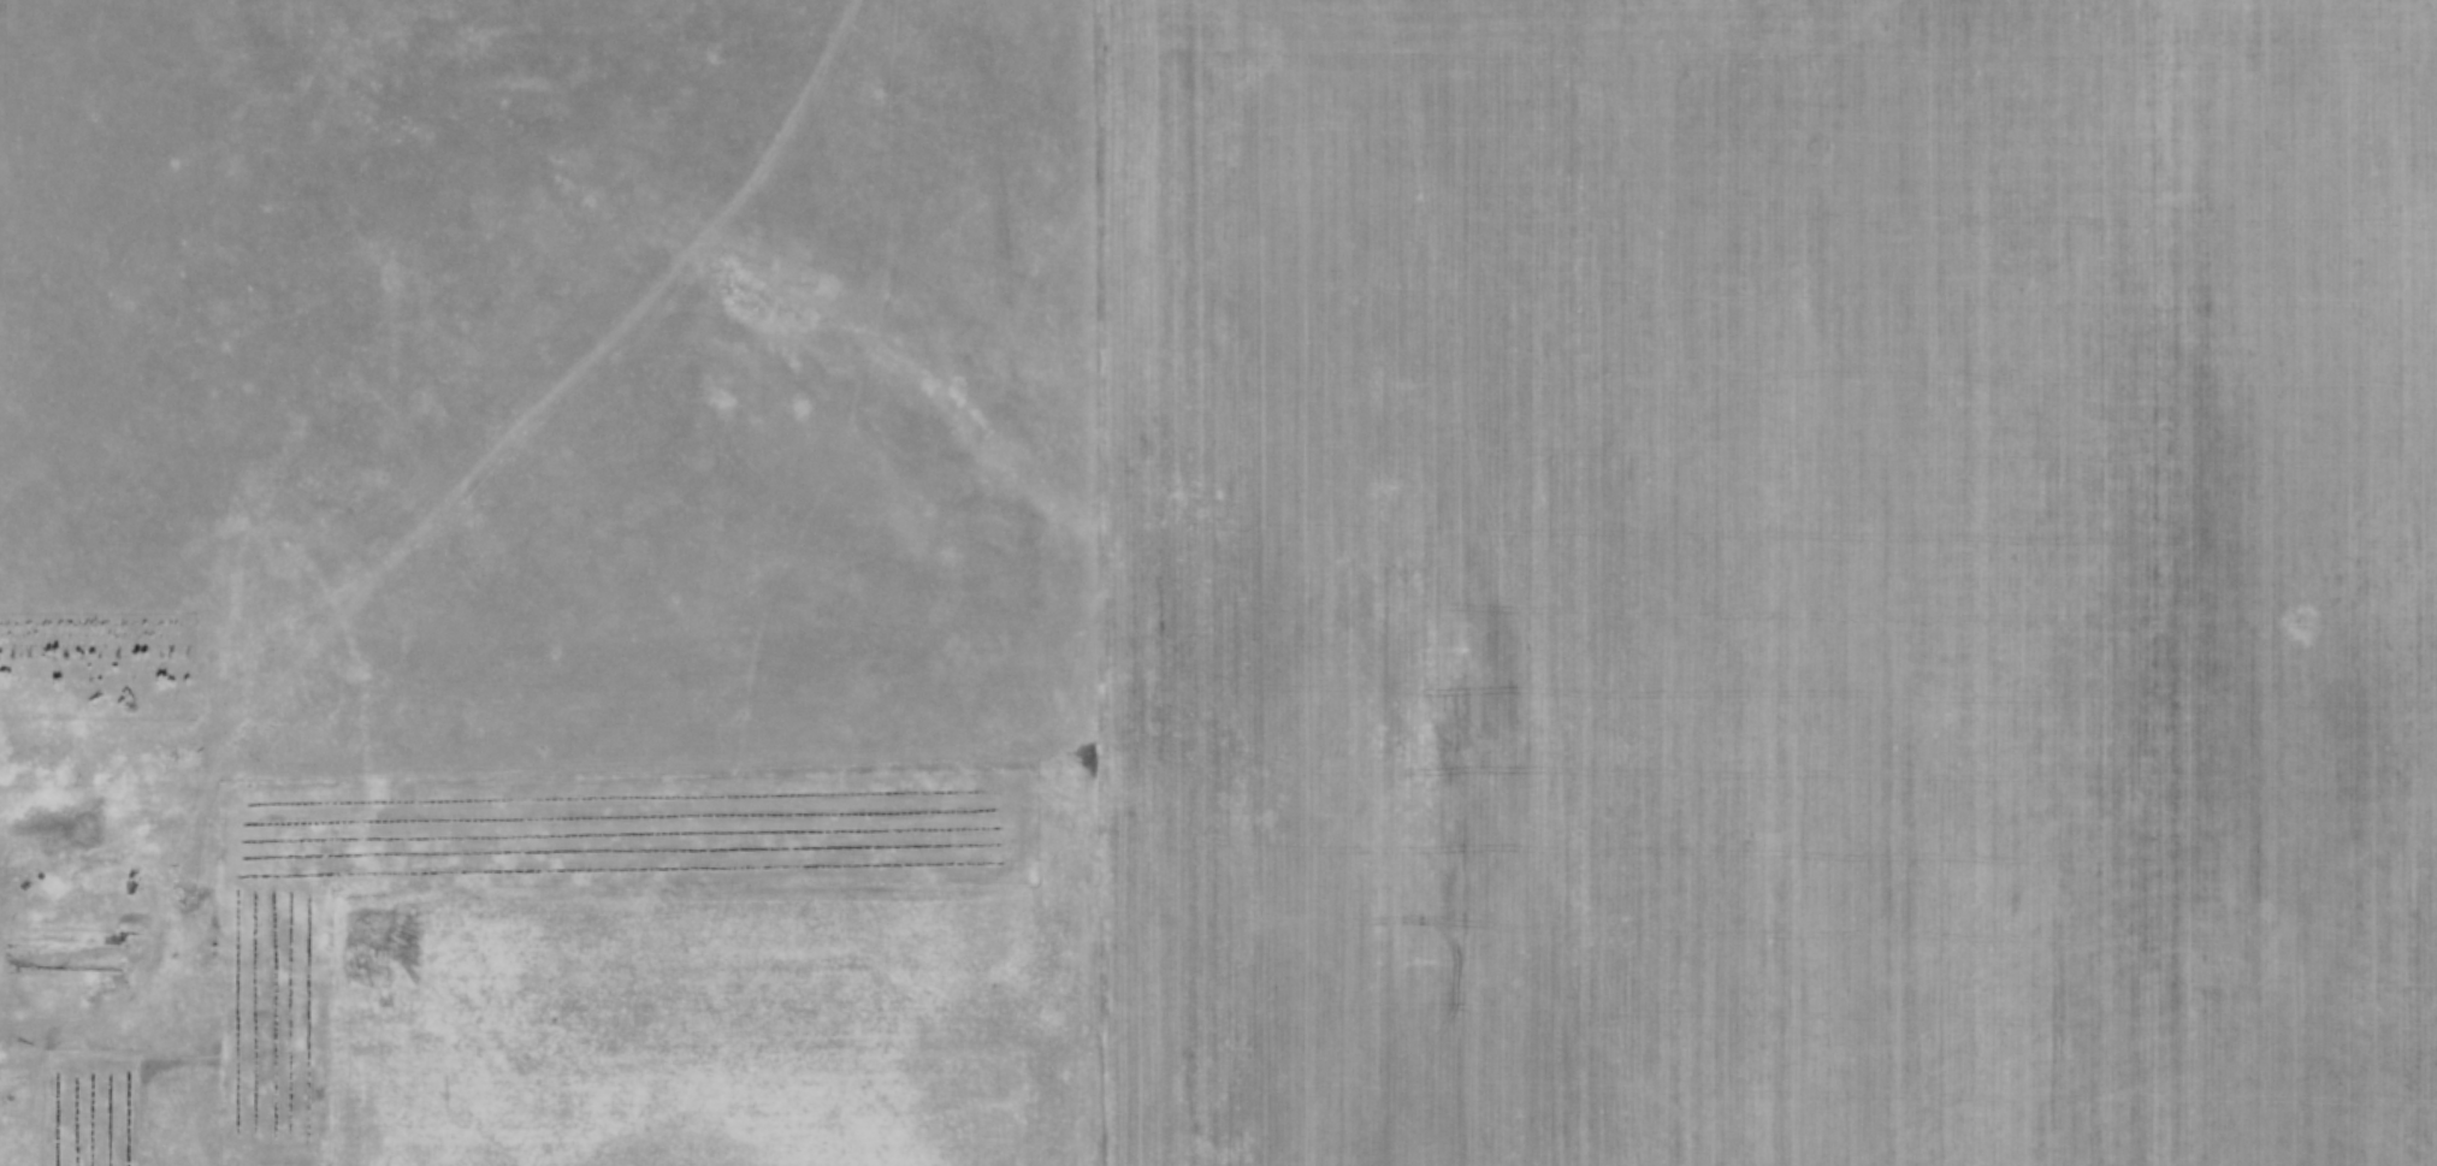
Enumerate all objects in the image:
building: (126, 943)
building: (90, 960)

